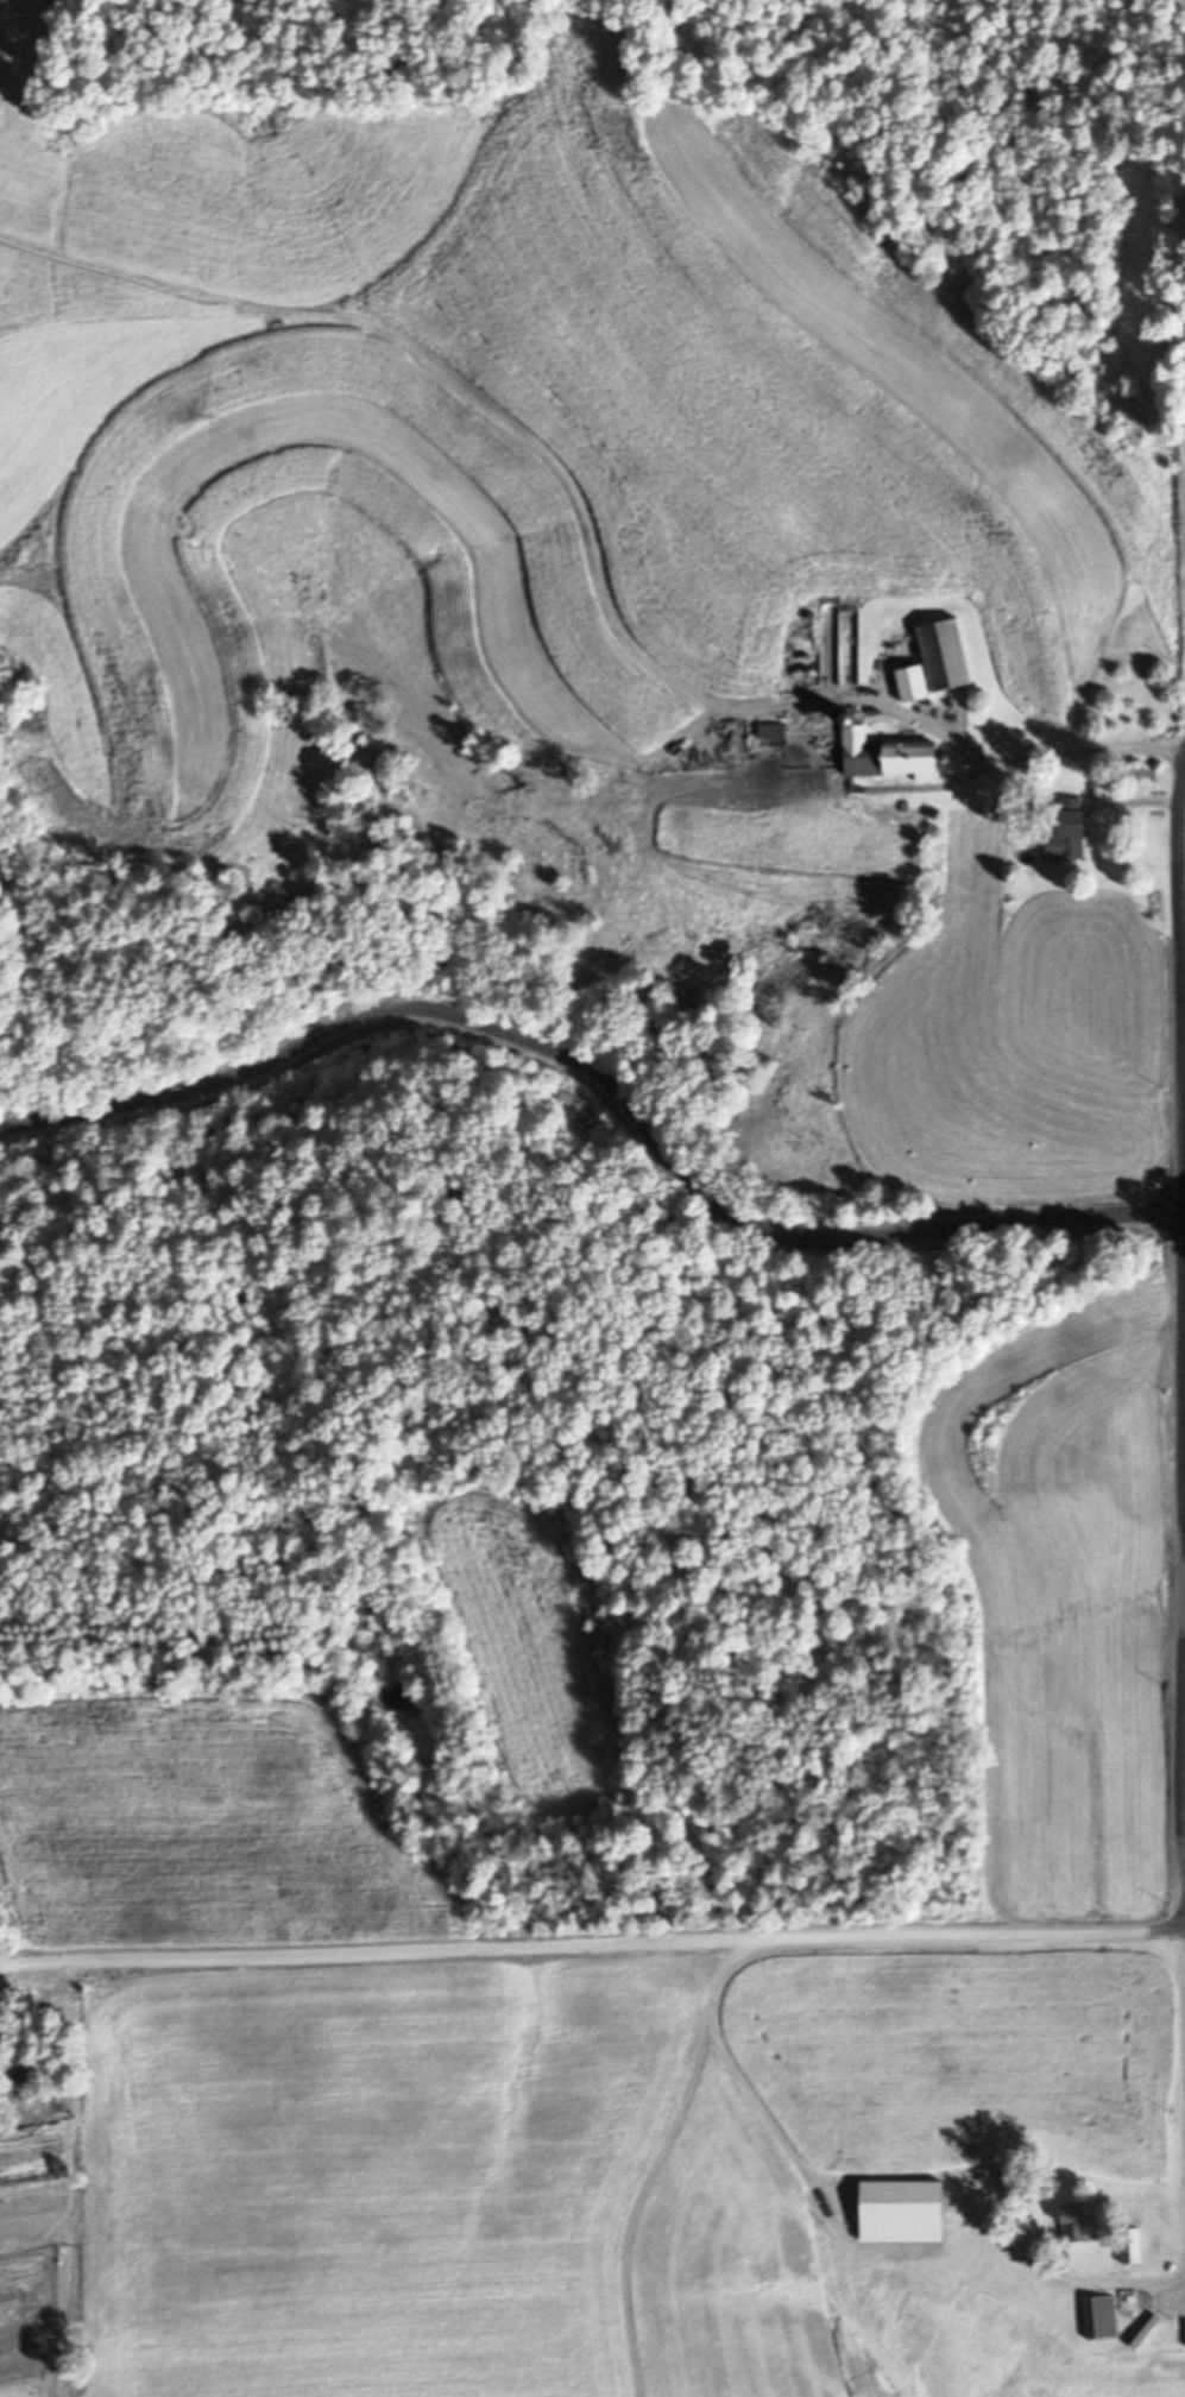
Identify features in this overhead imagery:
building: (935, 663)
building: (771, 733)
building: (887, 757)
building: (1070, 835)
road: (1184, 904)
road: (611, 1077)
road: (593, 1948)
building: (901, 2213)
building: (1073, 2225)
building: (1129, 2247)
road: (1133, 2281)
building: (1099, 2317)

